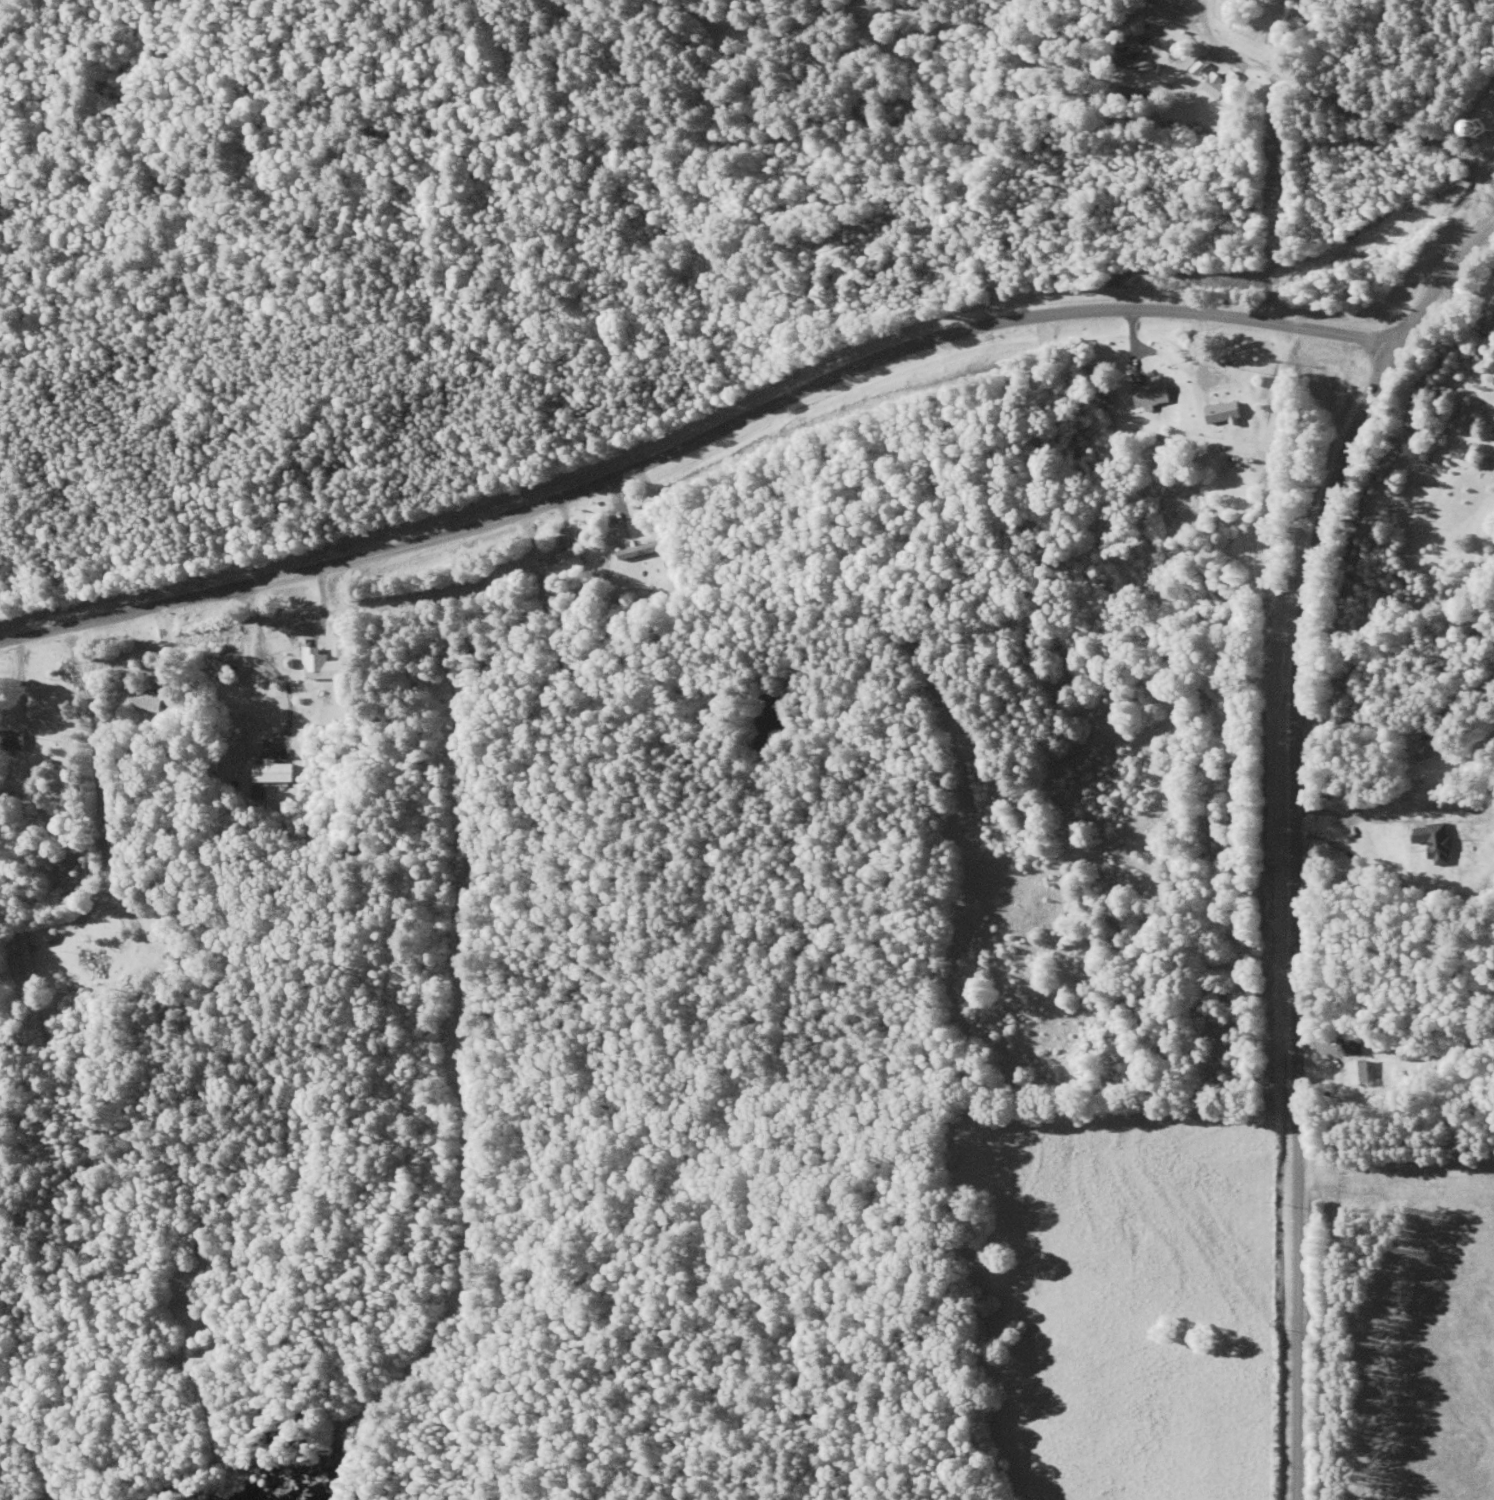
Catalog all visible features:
road: (1103, 51)
building: (1138, 64)
building: (1214, 85)
building: (1485, 127)
building: (1488, 322)
building: (1147, 391)
building: (1223, 412)
road: (696, 440)
building: (1240, 461)
building: (637, 550)
building: (563, 561)
building: (320, 665)
building: (147, 700)
building: (12, 739)
road: (1295, 832)
building: (1370, 843)
building: (173, 946)
building: (24, 957)
building: (93, 961)
building: (1351, 1042)
building: (1359, 1072)
road: (1395, 1143)

